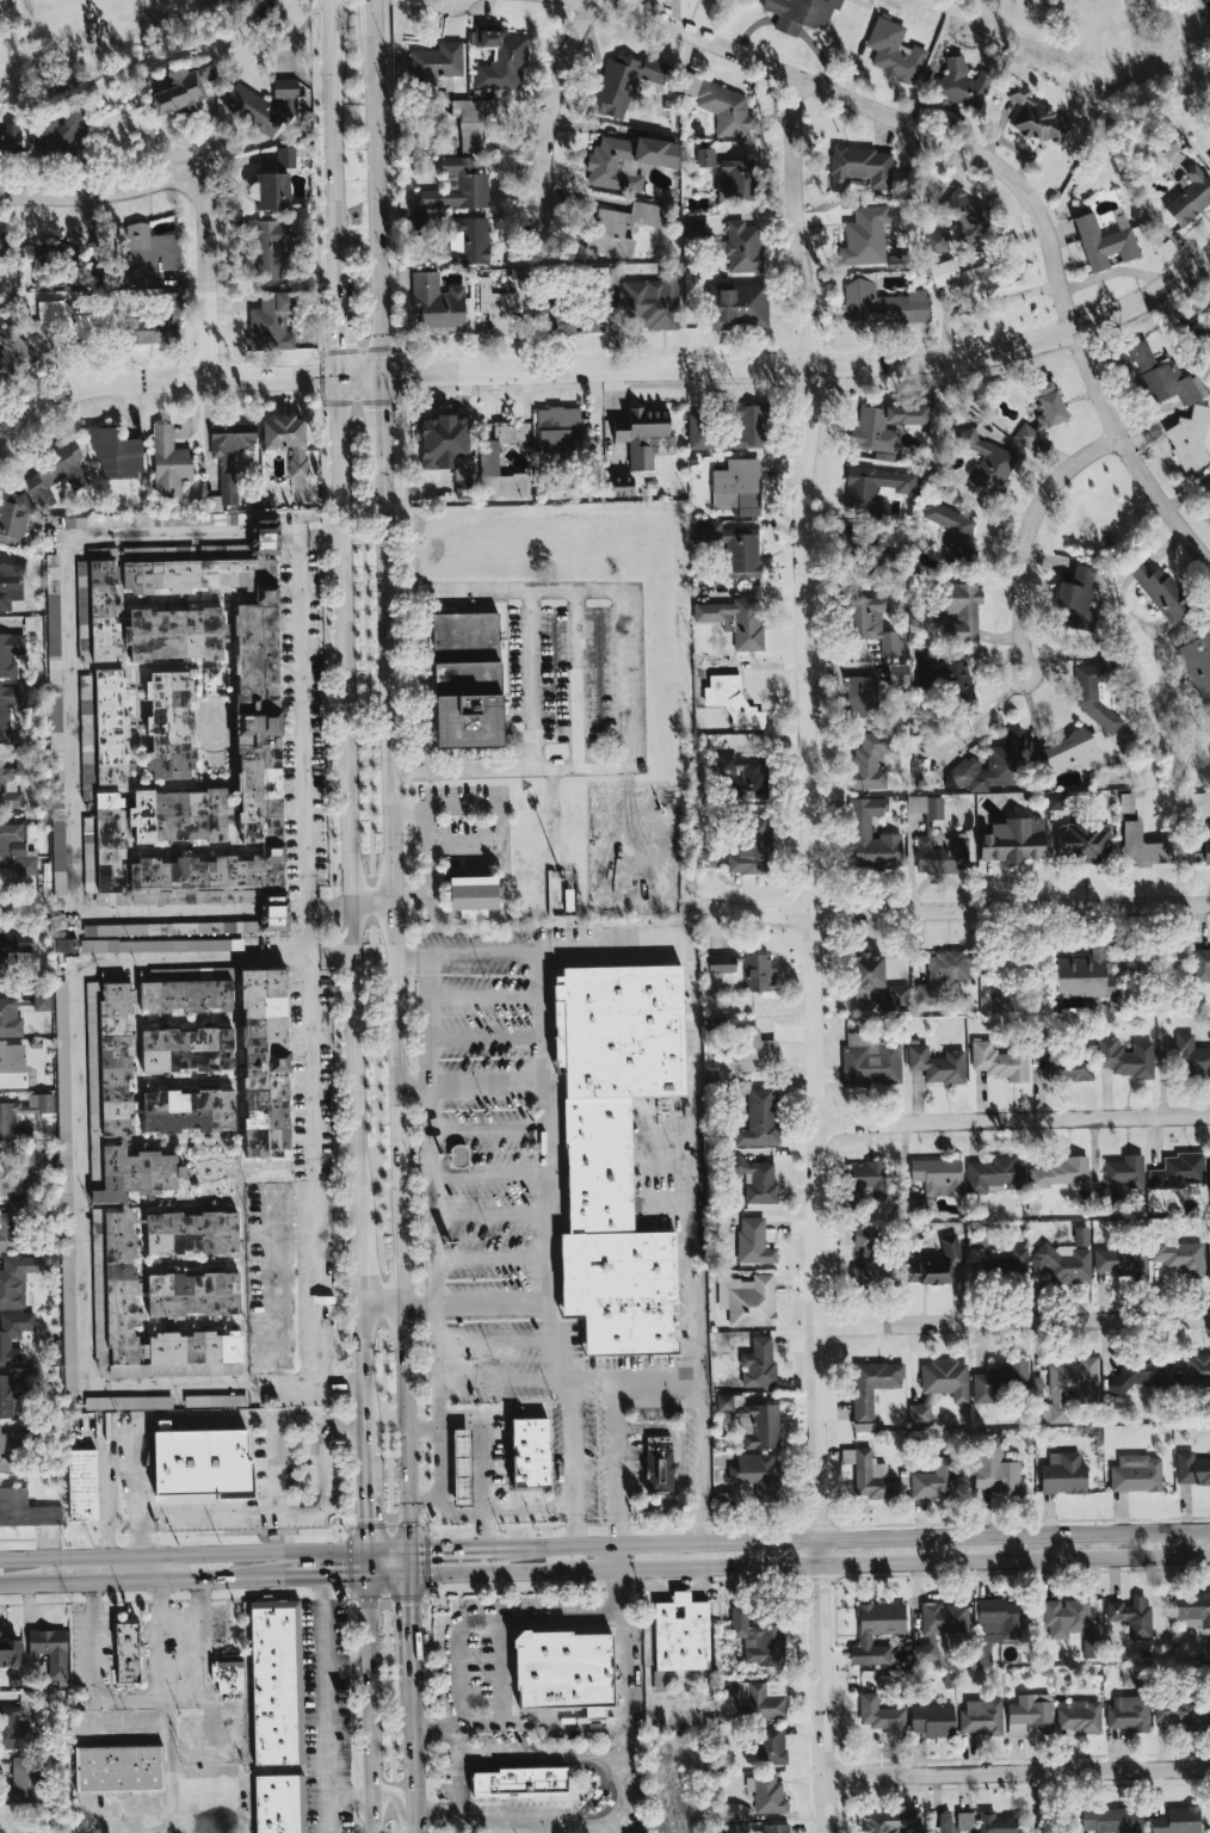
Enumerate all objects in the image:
building: (801, 14)
building: (894, 50)
building: (500, 57)
building: (438, 62)
building: (624, 82)
building: (962, 84)
building: (183, 88)
building: (290, 94)
road: (554, 101)
building: (722, 105)
building: (253, 110)
building: (1037, 117)
building: (474, 123)
building: (62, 131)
building: (10, 137)
road: (331, 141)
building: (1166, 146)
building: (285, 156)
building: (705, 156)
building: (626, 161)
building: (862, 167)
road: (1010, 177)
building: (737, 180)
road: (375, 186)
building: (457, 186)
building: (270, 190)
road: (99, 191)
building: (1189, 199)
building: (964, 215)
building: (621, 227)
building: (865, 236)
building: (469, 240)
building: (936, 241)
building: (4, 242)
building: (1103, 242)
building: (270, 247)
building: (742, 247)
building: (149, 253)
building: (55, 254)
road: (205, 273)
building: (970, 277)
building: (42, 284)
building: (504, 300)
building: (653, 301)
building: (883, 304)
building: (437, 305)
building: (739, 305)
building: (564, 311)
building: (76, 319)
building: (271, 322)
building: (156, 323)
road: (337, 328)
building: (1199, 331)
building: (14, 351)
road: (805, 364)
road: (358, 374)
traffic signals: (379, 374)
traffic signals: (338, 375)
building: (1165, 377)
road: (161, 378)
building: (1043, 413)
building: (749, 424)
road: (381, 427)
building: (504, 431)
building: (699, 431)
building: (644, 436)
building: (557, 437)
building: (1190, 438)
building: (286, 439)
building: (447, 449)
building: (116, 452)
building: (489, 457)
building: (987, 461)
building: (169, 463)
building: (223, 464)
building: (55, 473)
building: (621, 486)
building: (737, 487)
building: (875, 487)
building: (1208, 492)
building: (14, 518)
road: (1025, 529)
building: (953, 530)
road: (264, 533)
road: (309, 537)
building: (871, 541)
building: (735, 547)
building: (11, 580)
road: (511, 590)
building: (1160, 591)
building: (1076, 598)
building: (956, 609)
building: (748, 624)
building: (873, 624)
building: (175, 632)
building: (10, 653)
building: (214, 674)
building: (897, 675)
building: (465, 679)
road: (531, 679)
road: (576, 679)
building: (946, 680)
road: (1011, 680)
building: (1092, 692)
building: (860, 695)
building: (733, 701)
building: (7, 711)
building: (105, 723)
building: (169, 723)
road: (70, 724)
building: (56, 732)
road: (463, 735)
road: (555, 735)
road: (303, 747)
building: (1067, 754)
building: (869, 761)
building: (992, 766)
road: (600, 767)
building: (746, 774)
building: (7, 782)
road: (350, 801)
building: (1057, 801)
building: (1126, 802)
road: (426, 807)
road: (408, 808)
building: (180, 814)
building: (872, 837)
building: (1082, 840)
building: (1014, 841)
road: (467, 844)
building: (751, 846)
building: (1144, 846)
building: (17, 850)
building: (1199, 851)
building: (473, 893)
road: (410, 896)
road: (19, 901)
road: (374, 902)
road: (297, 908)
road: (329, 908)
road: (273, 909)
road: (1010, 909)
road: (758, 914)
flagpole: (296, 918)
flagpole: (297, 925)
flagpole: (297, 932)
building: (67, 944)
building: (162, 945)
building: (12, 948)
building: (1209, 950)
road: (810, 952)
road: (331, 957)
building: (1157, 959)
building: (1202, 964)
building: (743, 970)
building: (943, 973)
building: (1085, 975)
building: (876, 983)
road: (484, 995)
building: (42, 998)
road: (396, 1011)
building: (10, 1018)
road: (486, 1036)
building: (242, 1038)
building: (186, 1049)
building: (749, 1051)
building: (1126, 1057)
building: (1191, 1057)
building: (870, 1060)
building: (1000, 1062)
building: (1209, 1062)
building: (938, 1064)
building: (12, 1066)
road: (309, 1068)
building: (1069, 1068)
road: (470, 1085)
building: (189, 1110)
road: (1013, 1118)
building: (10, 1119)
building: (759, 1119)
road: (488, 1129)
building: (615, 1148)
building: (458, 1155)
building: (26, 1169)
building: (1179, 1171)
road: (692, 1172)
road: (82, 1173)
road: (488, 1174)
building: (994, 1174)
building: (1062, 1174)
building: (938, 1175)
building: (1122, 1175)
road: (544, 1179)
building: (868, 1179)
building: (759, 1180)
building: (66, 1181)
building: (134, 1183)
building: (918, 1204)
road: (489, 1215)
building: (12, 1223)
building: (192, 1232)
building: (1081, 1236)
building: (753, 1241)
building: (976, 1247)
road: (434, 1249)
building: (865, 1257)
building: (1179, 1257)
road: (490, 1258)
building: (1010, 1261)
building: (1122, 1261)
building: (1063, 1263)
building: (937, 1264)
road: (359, 1271)
building: (20, 1277)
road: (310, 1282)
building: (193, 1292)
building: (748, 1300)
road: (474, 1308)
road: (381, 1312)
road: (1012, 1323)
building: (13, 1334)
building: (759, 1363)
building: (1197, 1368)
building: (1138, 1371)
road: (363, 1372)
road: (634, 1376)
building: (945, 1378)
road: (505, 1380)
building: (999, 1380)
road: (338, 1383)
building: (872, 1385)
building: (1072, 1385)
building: (1209, 1385)
building: (7, 1395)
road: (658, 1397)
building: (271, 1399)
building: (216, 1400)
building: (128, 1402)
building: (727, 1403)
building: (1039, 1407)
building: (920, 1411)
road: (185, 1414)
building: (759, 1426)
road: (422, 1430)
road: (498, 1431)
building: (11, 1451)
building: (531, 1452)
road: (278, 1461)
road: (617, 1461)
building: (202, 1462)
building: (659, 1464)
building: (462, 1465)
road: (678, 1465)
building: (994, 1468)
building: (1191, 1469)
building: (757, 1474)
building: (1136, 1474)
building: (1063, 1475)
building: (871, 1476)
building: (933, 1480)
building: (82, 1485)
road: (365, 1489)
road: (106, 1496)
road: (425, 1501)
building: (25, 1510)
road: (278, 1510)
road: (514, 1511)
traffic signals: (366, 1519)
road: (510, 1530)
road: (851, 1537)
road: (450, 1542)
road: (388, 1543)
traffic signals: (434, 1543)
road: (183, 1548)
road: (618, 1557)
road: (368, 1561)
road: (809, 1564)
road: (149, 1566)
road: (389, 1578)
road: (323, 1579)
traffic signals: (342, 1579)
road: (215, 1581)
road: (95, 1584)
road: (20, 1586)
traffic signals: (410, 1603)
building: (1192, 1609)
road: (410, 1612)
building: (1132, 1616)
building: (1066, 1617)
road: (467, 1619)
building: (999, 1621)
building: (940, 1627)
building: (876, 1631)
building: (679, 1636)
building: (758, 1638)
building: (1209, 1641)
road: (625, 1648)
building: (49, 1650)
building: (8, 1652)
building: (126, 1652)
road: (501, 1659)
road: (205, 1660)
road: (346, 1661)
building: (564, 1671)
building: (229, 1674)
building: (276, 1683)
road: (129, 1697)
road: (326, 1705)
road: (369, 1705)
road: (166, 1709)
building: (1177, 1712)
building: (1128, 1714)
building: (882, 1716)
building: (981, 1716)
building: (1029, 1716)
building: (1078, 1716)
building: (932, 1720)
road: (554, 1727)
building: (13, 1729)
road: (171, 1734)
road: (623, 1741)
road: (413, 1743)
building: (768, 1745)
road: (542, 1753)
building: (118, 1769)
road: (462, 1771)
road: (965, 1772)
building: (24, 1780)
building: (519, 1780)
building: (768, 1795)
road: (351, 1796)
road: (1044, 1802)
building: (279, 1803)
road: (400, 1803)
building: (731, 1812)
road: (438, 1815)
road: (415, 1819)
road: (603, 1819)
building: (1112, 1819)
building: (890, 1821)
building: (953, 1821)
building: (1179, 1821)
road: (494, 1823)
building: (994, 1823)
building: (733, 1828)
building: (772, 1828)

